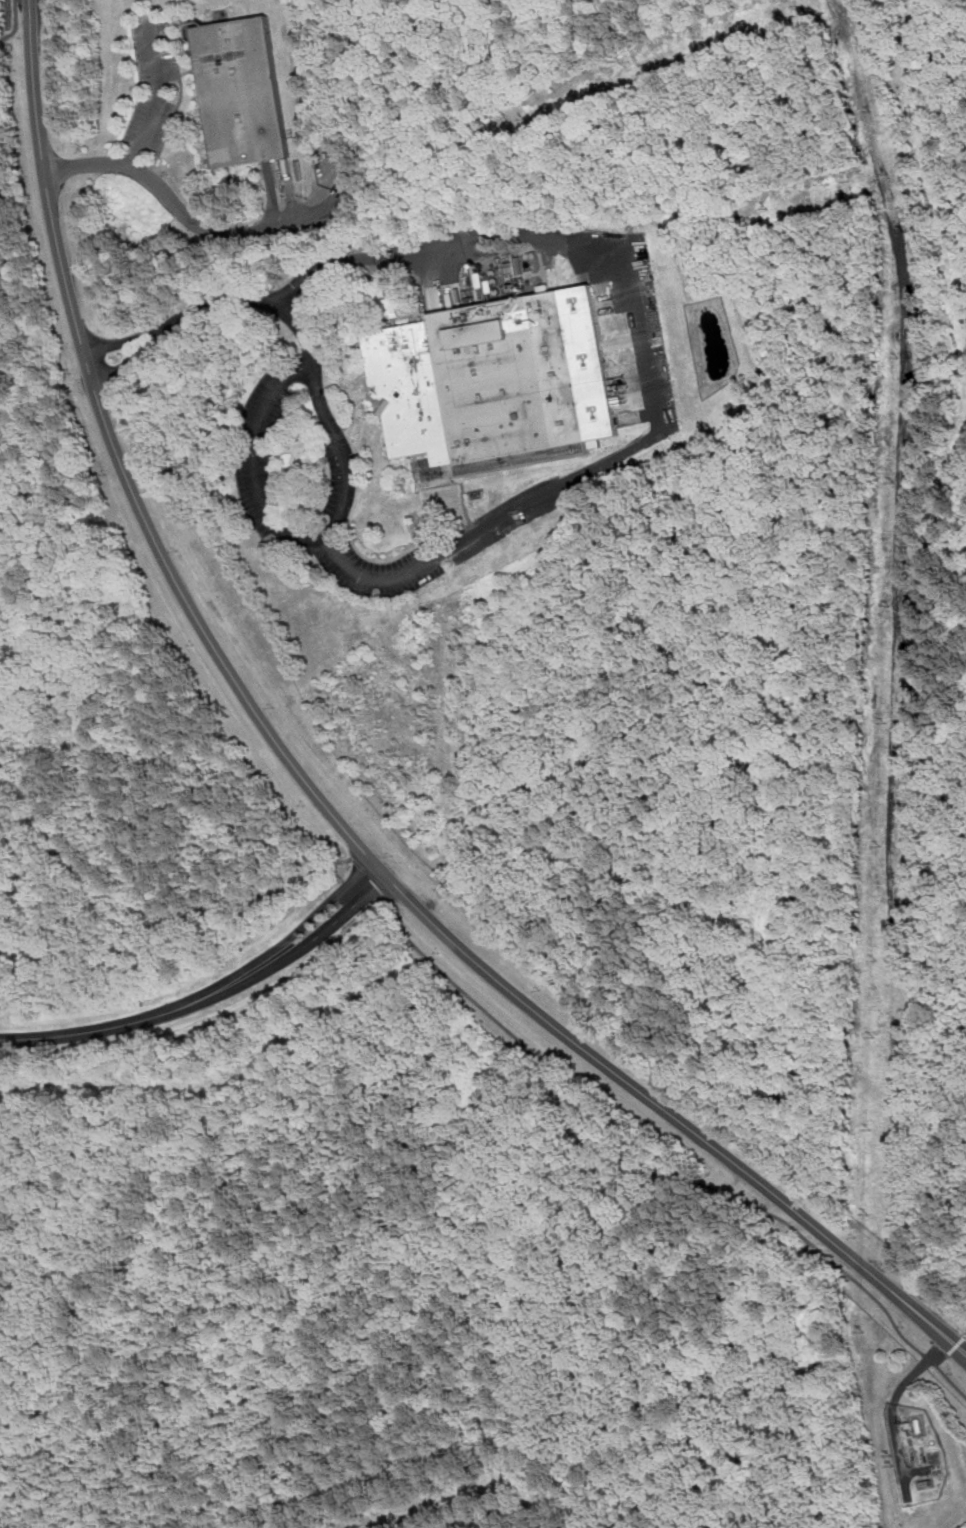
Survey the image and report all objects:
road: (16, 24)
road: (191, 72)
road: (182, 89)
building: (245, 93)
road: (159, 97)
road: (281, 195)
road: (196, 222)
road: (434, 274)
building: (394, 306)
road: (29, 324)
road: (135, 338)
road: (141, 355)
road: (649, 356)
building: (500, 381)
road: (316, 383)
road: (367, 395)
road: (338, 436)
road: (276, 440)
road: (297, 449)
road: (259, 452)
road: (345, 489)
road: (369, 559)
road: (124, 725)
road: (315, 794)
road: (289, 868)
road: (373, 879)
road: (315, 915)
road: (326, 930)
road: (133, 1021)
road: (662, 1164)
road: (965, 1335)
road: (955, 1344)
road: (941, 1358)
road: (893, 1407)

